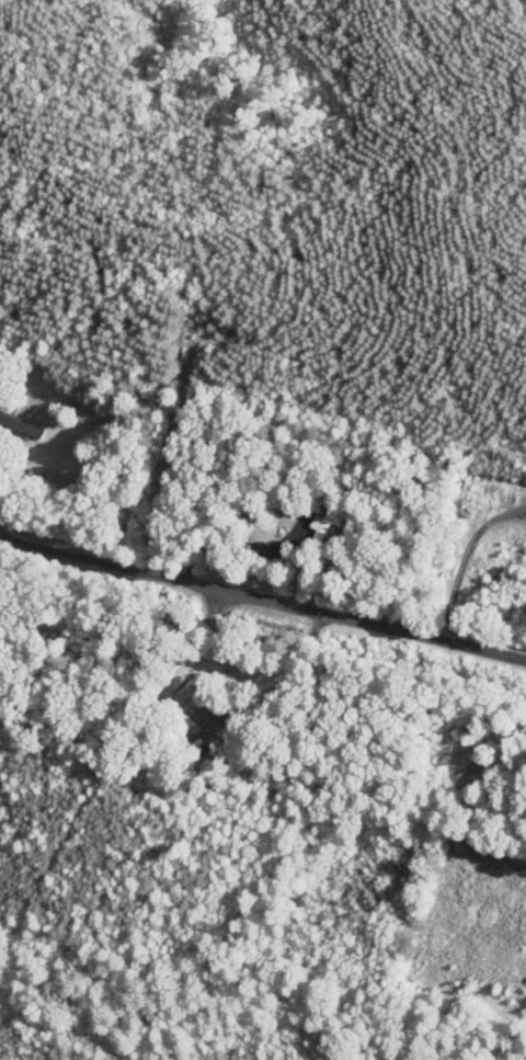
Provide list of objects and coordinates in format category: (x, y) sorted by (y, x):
road: (460, 559)
road: (261, 605)

